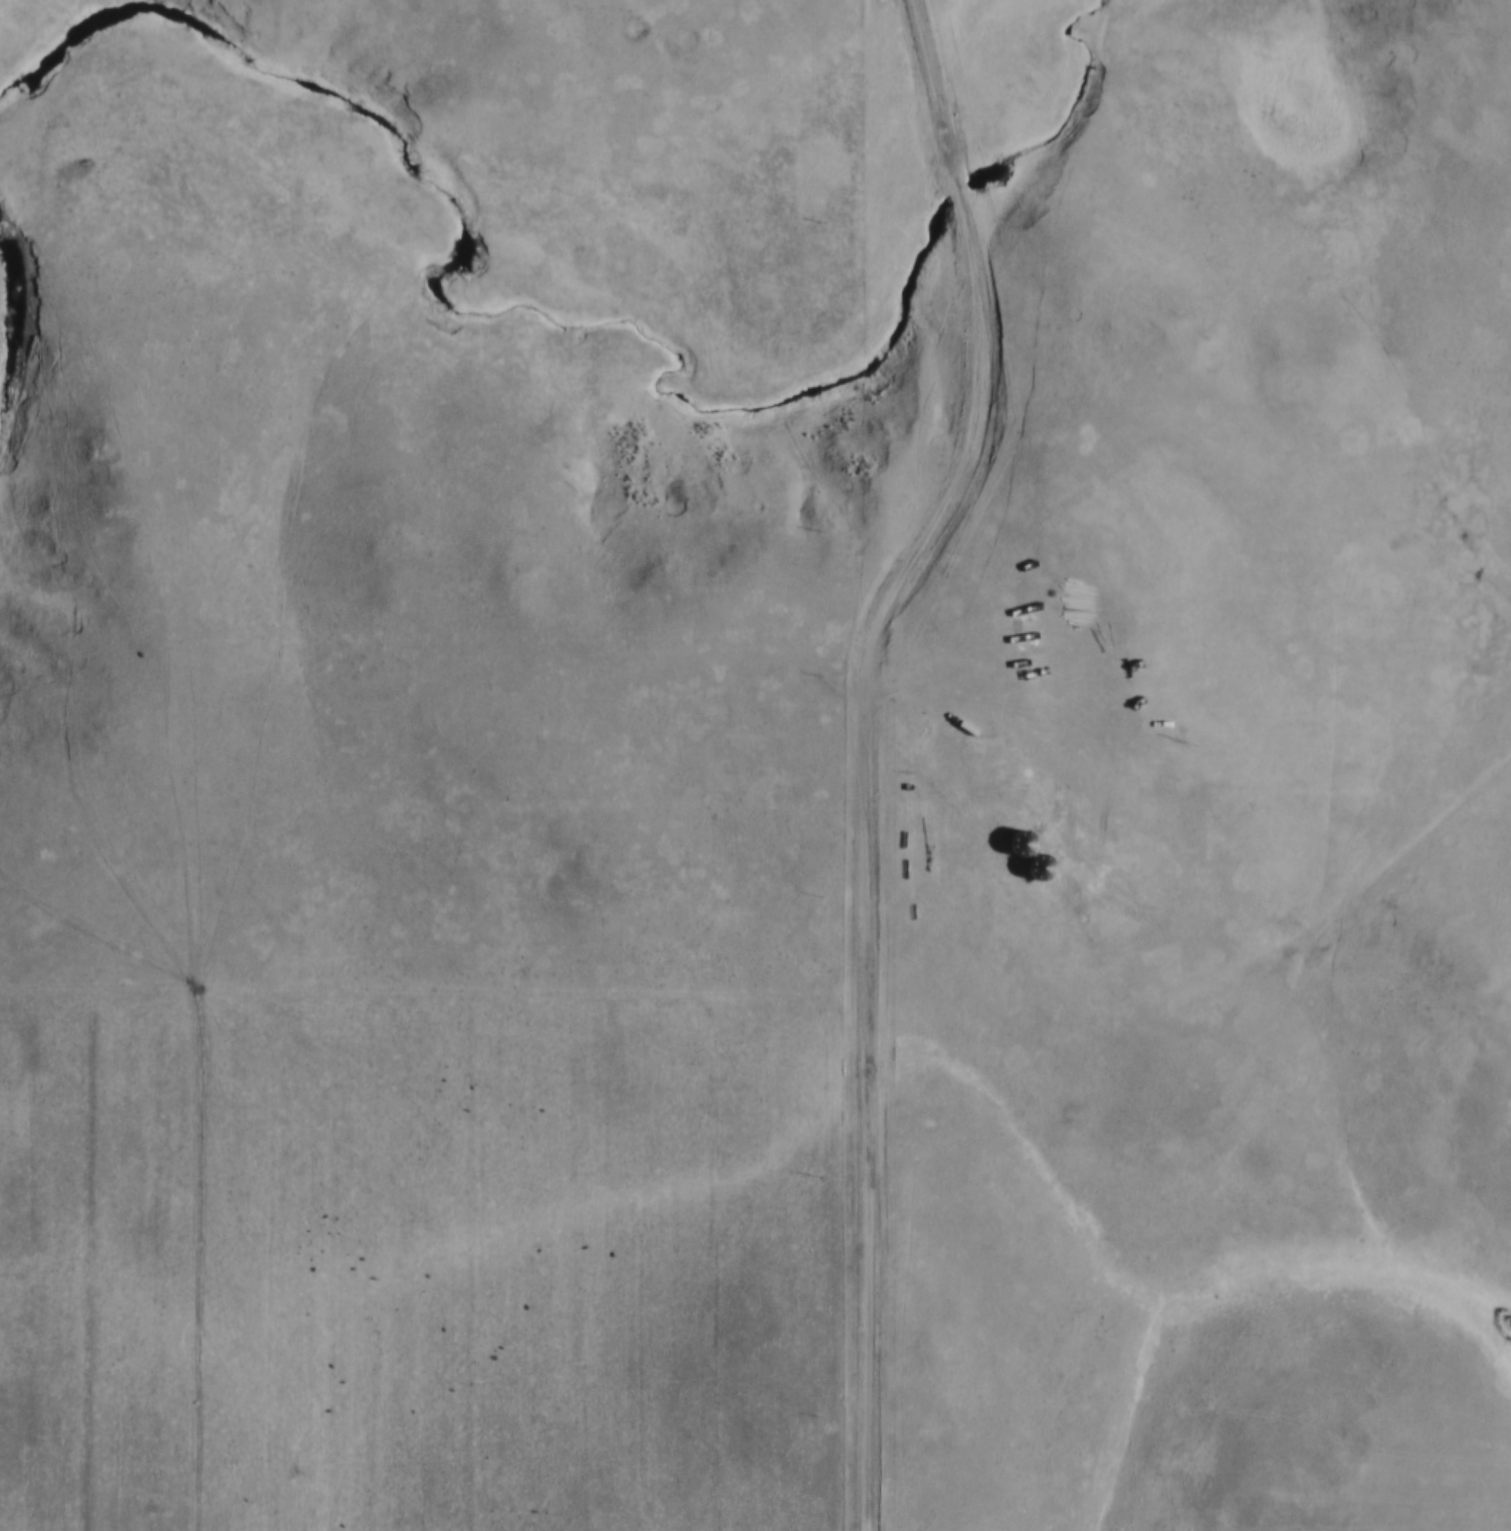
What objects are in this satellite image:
road: (869, 748)

